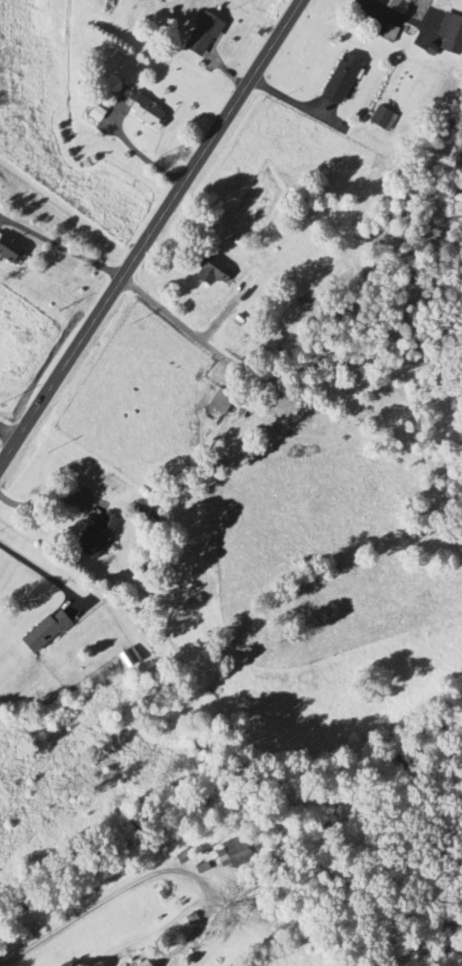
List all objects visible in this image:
building: (402, 0)
building: (200, 35)
building: (448, 37)
building: (339, 79)
building: (142, 112)
building: (379, 118)
road: (142, 156)
road: (151, 233)
road: (60, 248)
building: (9, 253)
building: (209, 273)
road: (276, 374)
building: (219, 401)
road: (8, 435)
building: (94, 536)
road: (38, 572)
building: (43, 631)
building: (126, 657)
building: (234, 852)
road: (93, 907)
building: (140, 963)

